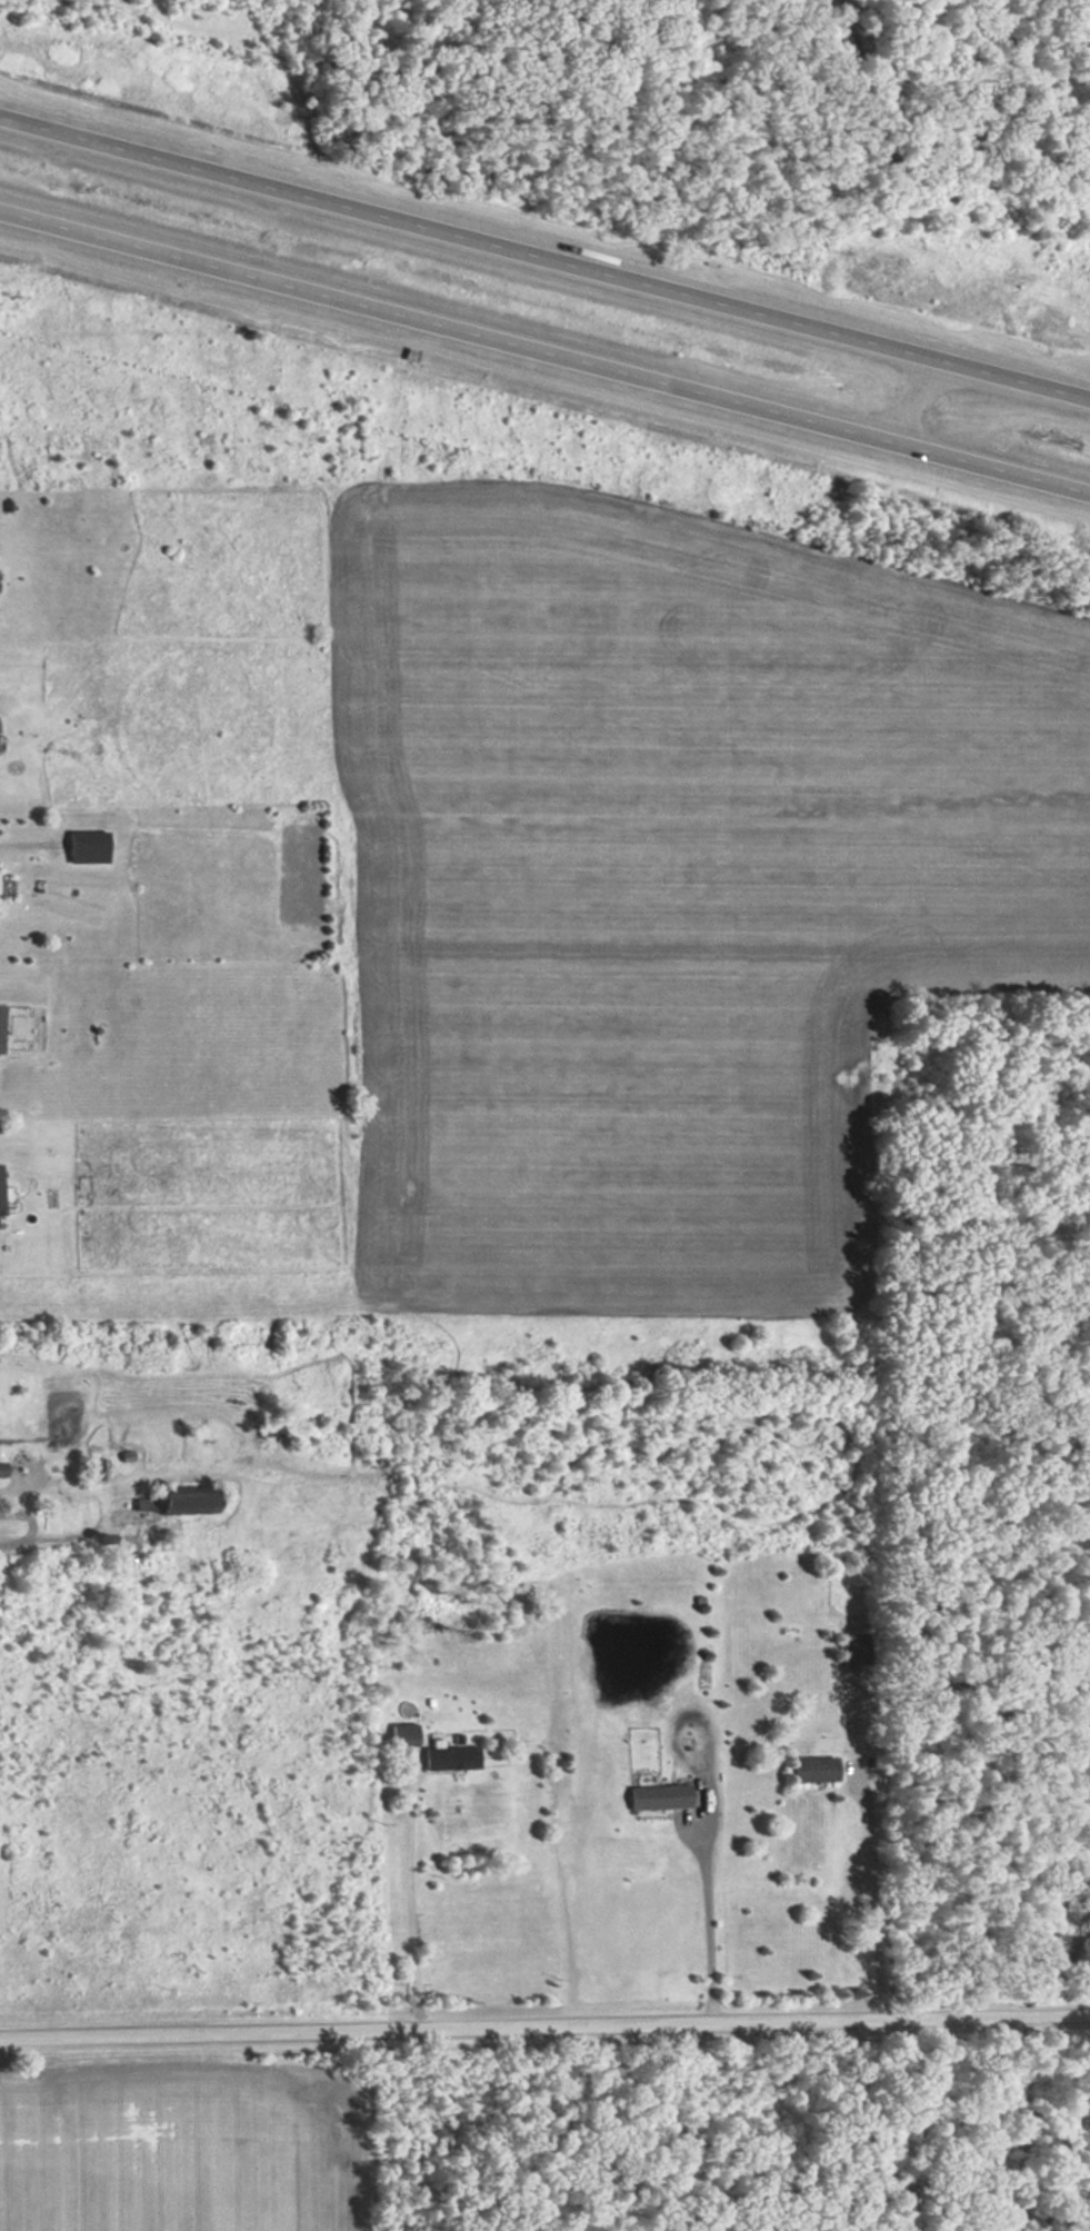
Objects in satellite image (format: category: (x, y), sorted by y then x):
road: (544, 253)
road: (544, 349)
building: (83, 846)
road: (4, 1484)
building: (174, 1501)
building: (124, 1533)
building: (427, 1747)
building: (807, 1769)
building: (653, 1796)
road: (877, 1894)
road: (417, 1896)
road: (709, 1923)
road: (544, 2023)

